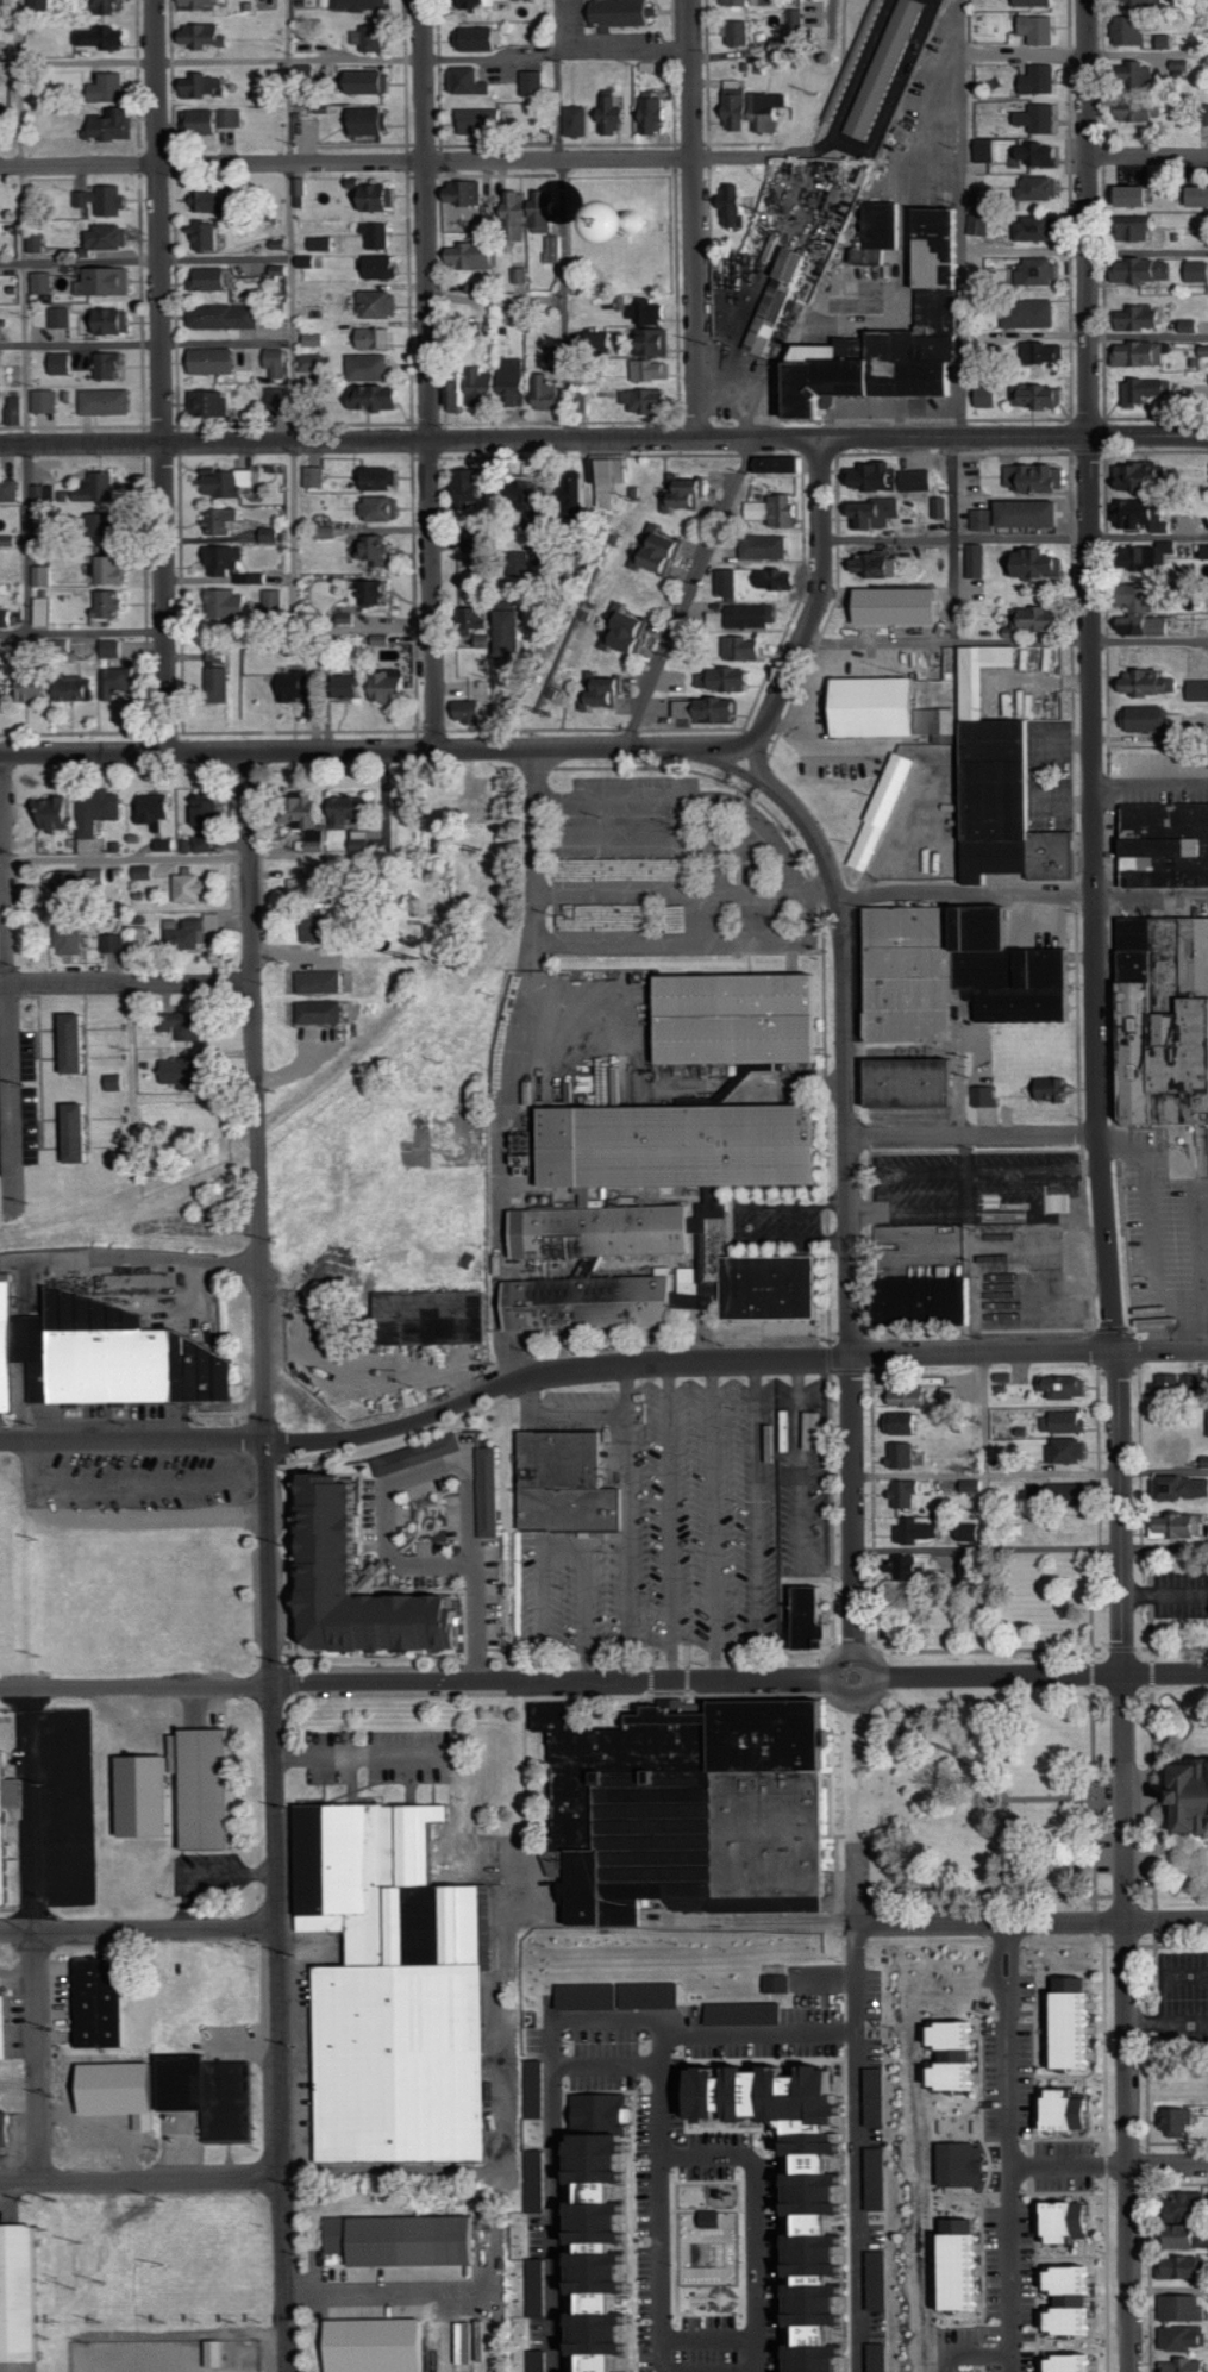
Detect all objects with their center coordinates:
building: (738, 1)
building: (6, 2)
building: (42, 2)
building: (768, 2)
building: (364, 4)
building: (482, 4)
building: (1027, 4)
building: (1133, 4)
building: (111, 5)
building: (202, 5)
building: (625, 12)
building: (799, 29)
building: (1032, 30)
building: (741, 32)
building: (1123, 32)
building: (207, 35)
building: (105, 36)
building: (374, 37)
building: (481, 38)
building: (1159, 42)
road: (1084, 52)
road: (345, 57)
building: (852, 60)
building: (884, 67)
building: (852, 69)
building: (1131, 76)
building: (1034, 80)
building: (373, 81)
building: (471, 81)
building: (534, 82)
building: (205, 83)
building: (114, 86)
building: (757, 111)
building: (659, 113)
building: (1132, 113)
building: (615, 114)
building: (1202, 115)
building: (1033, 119)
building: (373, 120)
building: (482, 120)
building: (580, 120)
building: (117, 125)
building: (4, 126)
building: (988, 150)
building: (1032, 156)
road: (1148, 156)
road: (386, 162)
building: (1033, 188)
building: (300, 192)
building: (468, 193)
building: (378, 196)
building: (1126, 198)
building: (1193, 198)
building: (975, 200)
building: (215, 201)
building: (736, 205)
building: (534, 207)
road: (561, 219)
road: (693, 219)
water tower: (621, 220)
road: (289, 221)
building: (982, 225)
building: (1128, 229)
building: (1028, 230)
building: (877, 232)
building: (208, 234)
building: (380, 234)
building: (112, 236)
building: (38, 243)
building: (321, 243)
building: (555, 249)
road: (1084, 251)
building: (474, 256)
road: (145, 261)
building: (383, 265)
building: (1032, 271)
building: (1135, 271)
building: (1191, 273)
building: (521, 274)
building: (214, 277)
building: (108, 281)
building: (44, 283)
building: (478, 288)
building: (775, 298)
road: (494, 299)
building: (381, 303)
building: (647, 312)
road: (24, 314)
building: (1027, 314)
building: (227, 315)
building: (790, 315)
building: (63, 317)
building: (1133, 319)
building: (113, 320)
road: (962, 321)
building: (1184, 326)
building: (471, 330)
building: (891, 334)
road: (1084, 336)
building: (376, 337)
building: (317, 339)
building: (659, 340)
road: (145, 344)
building: (1047, 352)
building: (1135, 355)
building: (218, 359)
building: (277, 362)
building: (314, 362)
building: (64, 363)
building: (112, 365)
building: (371, 367)
building: (518, 368)
building: (652, 370)
road: (428, 375)
road: (161, 376)
building: (483, 386)
building: (1140, 390)
building: (459, 392)
building: (550, 392)
building: (519, 395)
building: (1043, 395)
building: (377, 396)
building: (988, 396)
building: (278, 398)
building: (48, 400)
building: (649, 400)
building: (108, 401)
building: (213, 402)
road: (1013, 436)
road: (409, 442)
building: (784, 463)
building: (876, 476)
building: (318, 477)
building: (1039, 477)
building: (1133, 477)
building: (383, 478)
building: (611, 478)
building: (920, 480)
building: (231, 482)
building: (574, 483)
building: (472, 484)
building: (100, 487)
building: (536, 489)
building: (11, 492)
building: (44, 493)
building: (693, 494)
building: (940, 507)
building: (384, 508)
building: (775, 512)
building: (877, 512)
building: (1035, 513)
building: (111, 518)
building: (224, 519)
building: (985, 519)
building: (274, 534)
road: (1015, 538)
building: (477, 543)
building: (376, 549)
building: (766, 549)
building: (662, 552)
building: (1139, 557)
building: (225, 558)
building: (979, 561)
building: (1039, 563)
building: (877, 564)
building: (112, 569)
building: (42, 576)
building: (472, 576)
building: (259, 577)
building: (775, 578)
building: (730, 582)
building: (371, 592)
road: (687, 594)
building: (274, 600)
road: (557, 601)
building: (114, 603)
road: (289, 605)
building: (227, 606)
road: (816, 607)
building: (44, 612)
building: (1132, 613)
building: (478, 617)
building: (745, 617)
building: (6, 618)
building: (1038, 618)
road: (82, 630)
building: (632, 631)
building: (513, 634)
road: (1004, 640)
building: (114, 647)
building: (752, 649)
road: (1093, 675)
building: (219, 678)
building: (728, 678)
building: (120, 681)
building: (296, 686)
building: (1143, 686)
building: (355, 687)
building: (394, 687)
building: (30, 688)
building: (2, 690)
building: (76, 690)
building: (607, 690)
building: (1195, 691)
building: (711, 708)
building: (888, 708)
building: (471, 711)
building: (1137, 720)
building: (1171, 725)
road: (374, 750)
road: (1151, 781)
building: (1000, 784)
building: (158, 807)
building: (212, 808)
building: (351, 809)
building: (102, 811)
building: (881, 811)
building: (57, 813)
building: (309, 822)
building: (1164, 843)
building: (168, 844)
building: (201, 844)
building: (362, 844)
road: (244, 856)
building: (102, 876)
building: (190, 885)
building: (309, 887)
building: (71, 888)
road: (1022, 893)
road: (611, 894)
building: (680, 915)
building: (318, 926)
building: (192, 930)
building: (73, 934)
building: (115, 943)
building: (954, 971)
building: (323, 982)
road: (126, 983)
road: (8, 984)
road: (526, 994)
building: (321, 1012)
building: (1164, 1019)
building: (737, 1020)
building: (188, 1024)
building: (73, 1043)
building: (254, 1045)
road: (131, 1064)
building: (186, 1072)
building: (117, 1082)
building: (913, 1083)
building: (1054, 1089)
building: (987, 1096)
road: (256, 1097)
building: (76, 1131)
road: (974, 1134)
building: (680, 1144)
building: (1058, 1202)
road: (849, 1203)
building: (600, 1231)
road: (130, 1254)
building: (770, 1287)
building: (920, 1300)
building: (588, 1301)
building: (428, 1316)
road: (975, 1341)
road: (1163, 1350)
building: (104, 1357)
road: (551, 1369)
building: (1172, 1383)
road: (627, 1387)
building: (1058, 1387)
building: (916, 1395)
road: (559, 1413)
building: (1058, 1422)
building: (1206, 1422)
building: (905, 1423)
building: (815, 1431)
building: (1063, 1451)
building: (420, 1454)
building: (903, 1456)
building: (1202, 1462)
road: (453, 1463)
road: (35, 1464)
road: (1164, 1472)
road: (987, 1475)
road: (152, 1482)
building: (564, 1482)
road: (802, 1484)
building: (1179, 1488)
building: (490, 1492)
building: (909, 1494)
road: (139, 1517)
road: (713, 1519)
road: (757, 1519)
road: (669, 1520)
building: (1172, 1526)
building: (914, 1531)
building: (963, 1534)
building: (328, 1537)
road: (564, 1545)
road: (631, 1546)
road: (1031, 1547)
building: (908, 1567)
road: (1165, 1592)
building: (809, 1617)
road: (603, 1682)
building: (206, 1788)
building: (146, 1794)
building: (1193, 1798)
building: (688, 1808)
building: (2, 1821)
road: (1126, 1860)
building: (1207, 1870)
road: (857, 1884)
road: (278, 1907)
road: (1032, 1922)
road: (139, 1928)
building: (781, 1983)
building: (390, 1984)
building: (621, 1995)
building: (99, 2004)
building: (747, 2013)
road: (1168, 2021)
building: (4, 2026)
building: (1069, 2026)
road: (749, 2033)
road: (38, 2055)
building: (951, 2058)
road: (606, 2065)
building: (538, 2089)
building: (175, 2094)
building: (878, 2096)
building: (1068, 2110)
building: (1170, 2123)
building: (4, 2129)
road: (553, 2135)
road: (1009, 2147)
road: (659, 2157)
road: (1108, 2165)
building: (960, 2166)
road: (142, 2180)
building: (538, 2180)
building: (800, 2190)
building: (1194, 2205)
building: (715, 2218)
building: (1064, 2226)
building: (602, 2233)
building: (402, 2236)
building: (1194, 2236)
building: (956, 2266)
building: (1184, 2266)
building: (697, 2273)
road: (1170, 2289)
building: (18, 2292)
building: (1187, 2307)
building: (1068, 2320)
building: (1187, 2337)
building: (400, 2345)
road: (969, 2349)
building: (219, 2353)
power substation: (169, 2354)
building: (882, 2357)
road: (758, 2358)
building: (540, 2360)
building: (1187, 2365)

